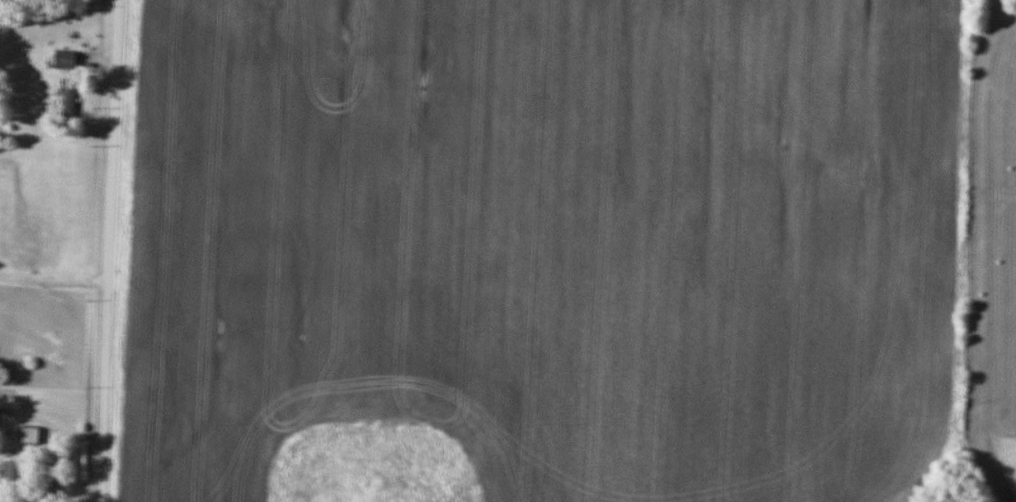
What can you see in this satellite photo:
building: (65, 60)
road: (109, 251)
road: (54, 269)
building: (29, 435)
building: (13, 470)

